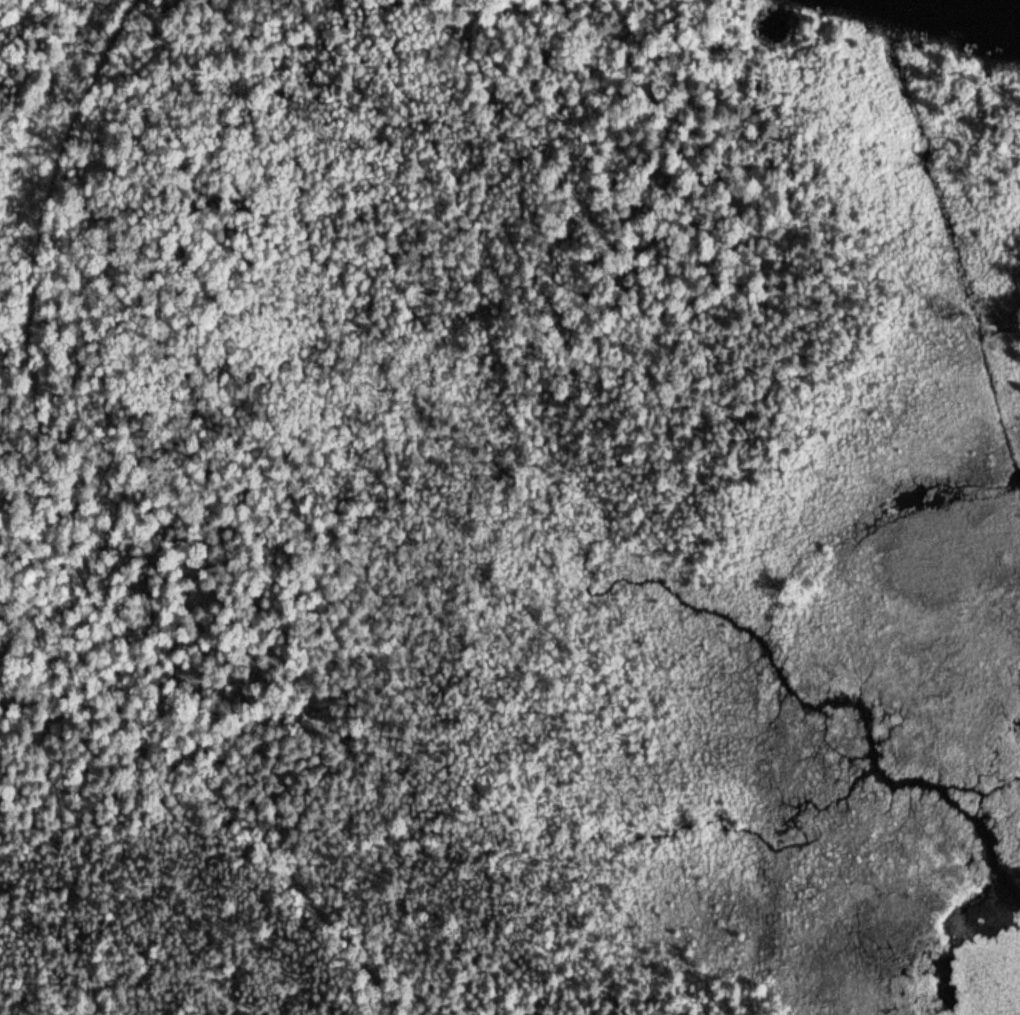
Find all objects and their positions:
road: (82, 549)

